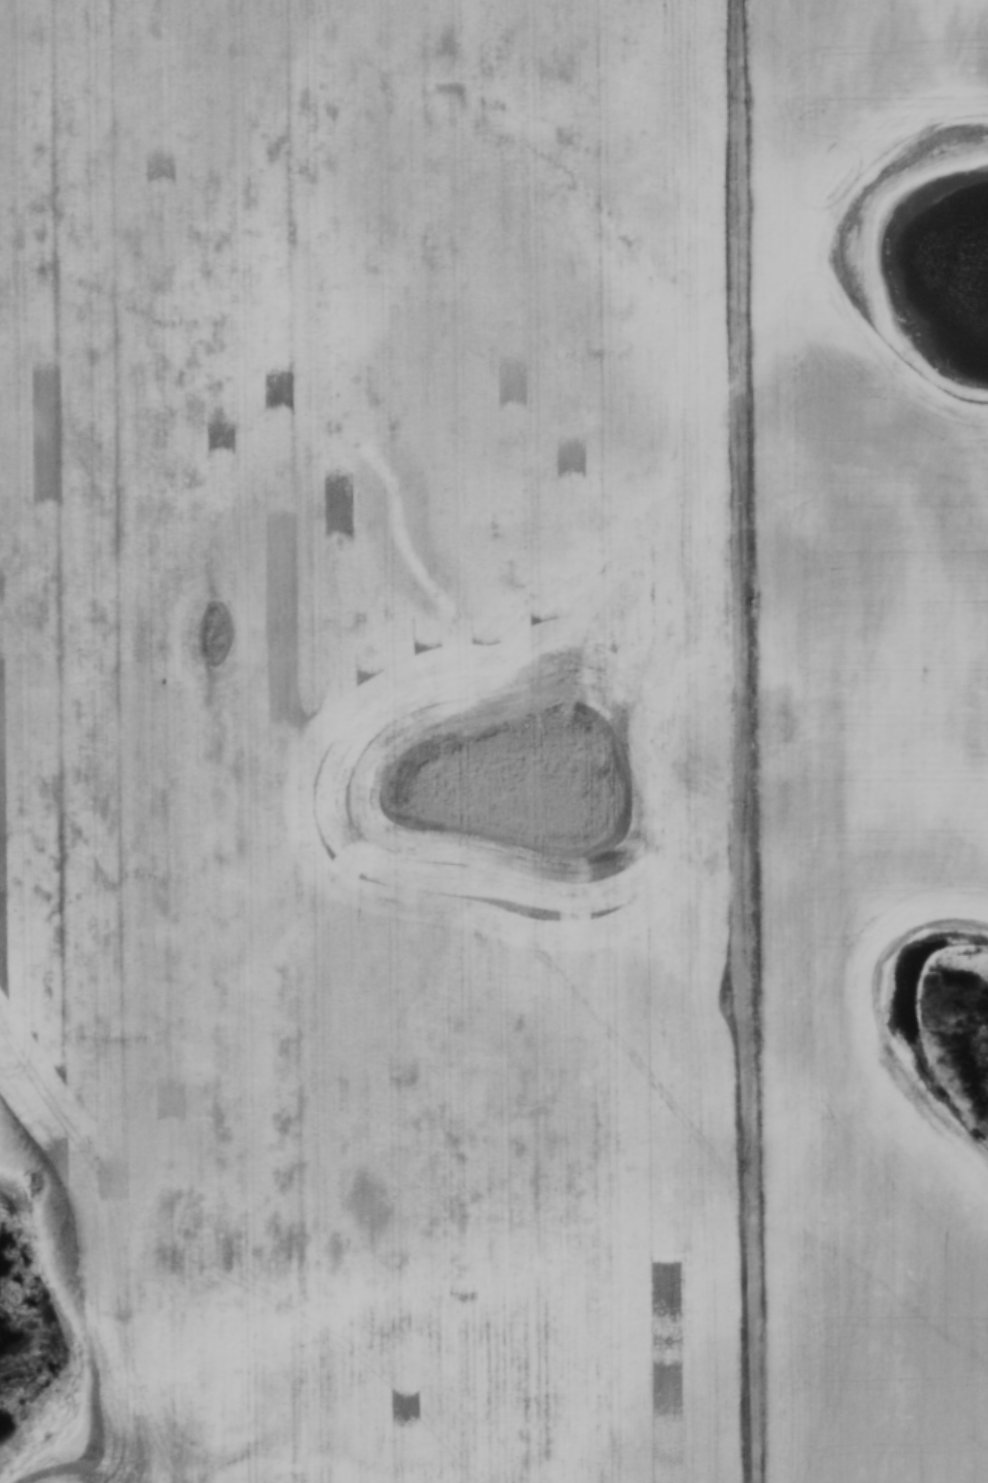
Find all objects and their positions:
road: (756, 741)

